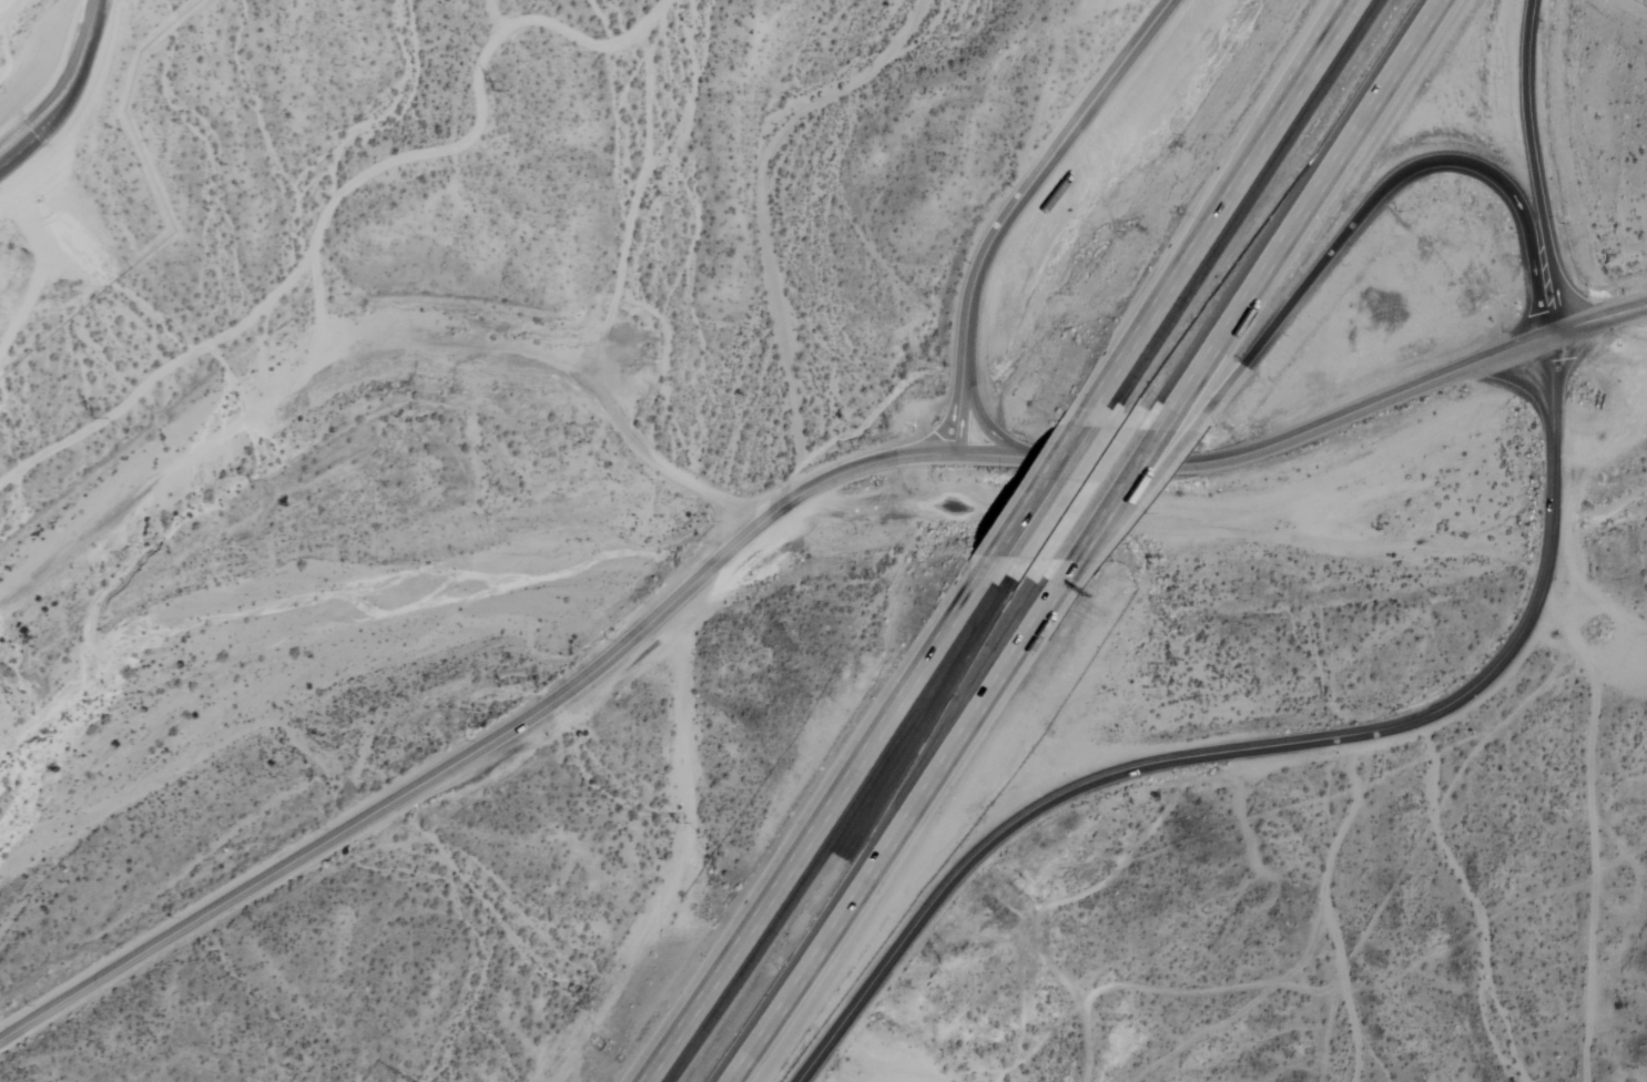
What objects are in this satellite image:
road: (1321, 47)
power tower: (445, 123)
road: (1538, 167)
road: (1389, 188)
road: (1230, 197)
road: (1302, 202)
road: (1020, 206)
road: (532, 354)
power tower: (98, 406)
road: (995, 425)
road: (1040, 486)
road: (1112, 487)
road: (1131, 494)
road: (766, 527)
railway: (1045, 541)
road: (1054, 581)
road: (1264, 746)
road: (821, 829)
road: (891, 836)
airport: (378, 1075)

